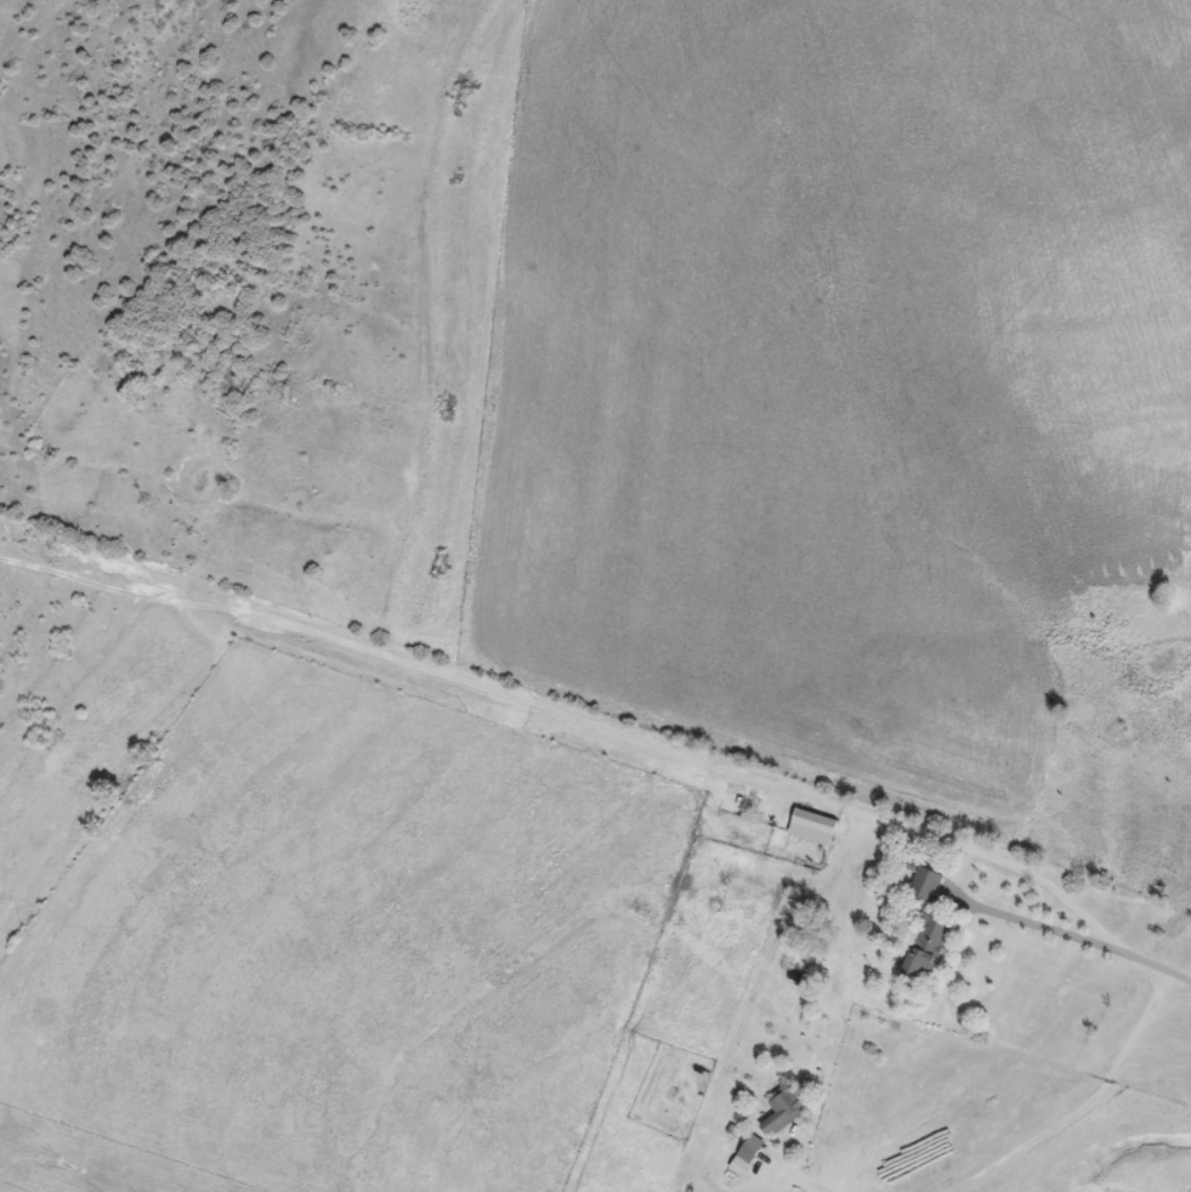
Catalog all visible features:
road: (569, 722)
building: (809, 825)
building: (923, 882)
road: (1067, 941)
building: (925, 943)
road: (1178, 983)
road: (1081, 1107)
building: (781, 1109)
road: (801, 1184)

